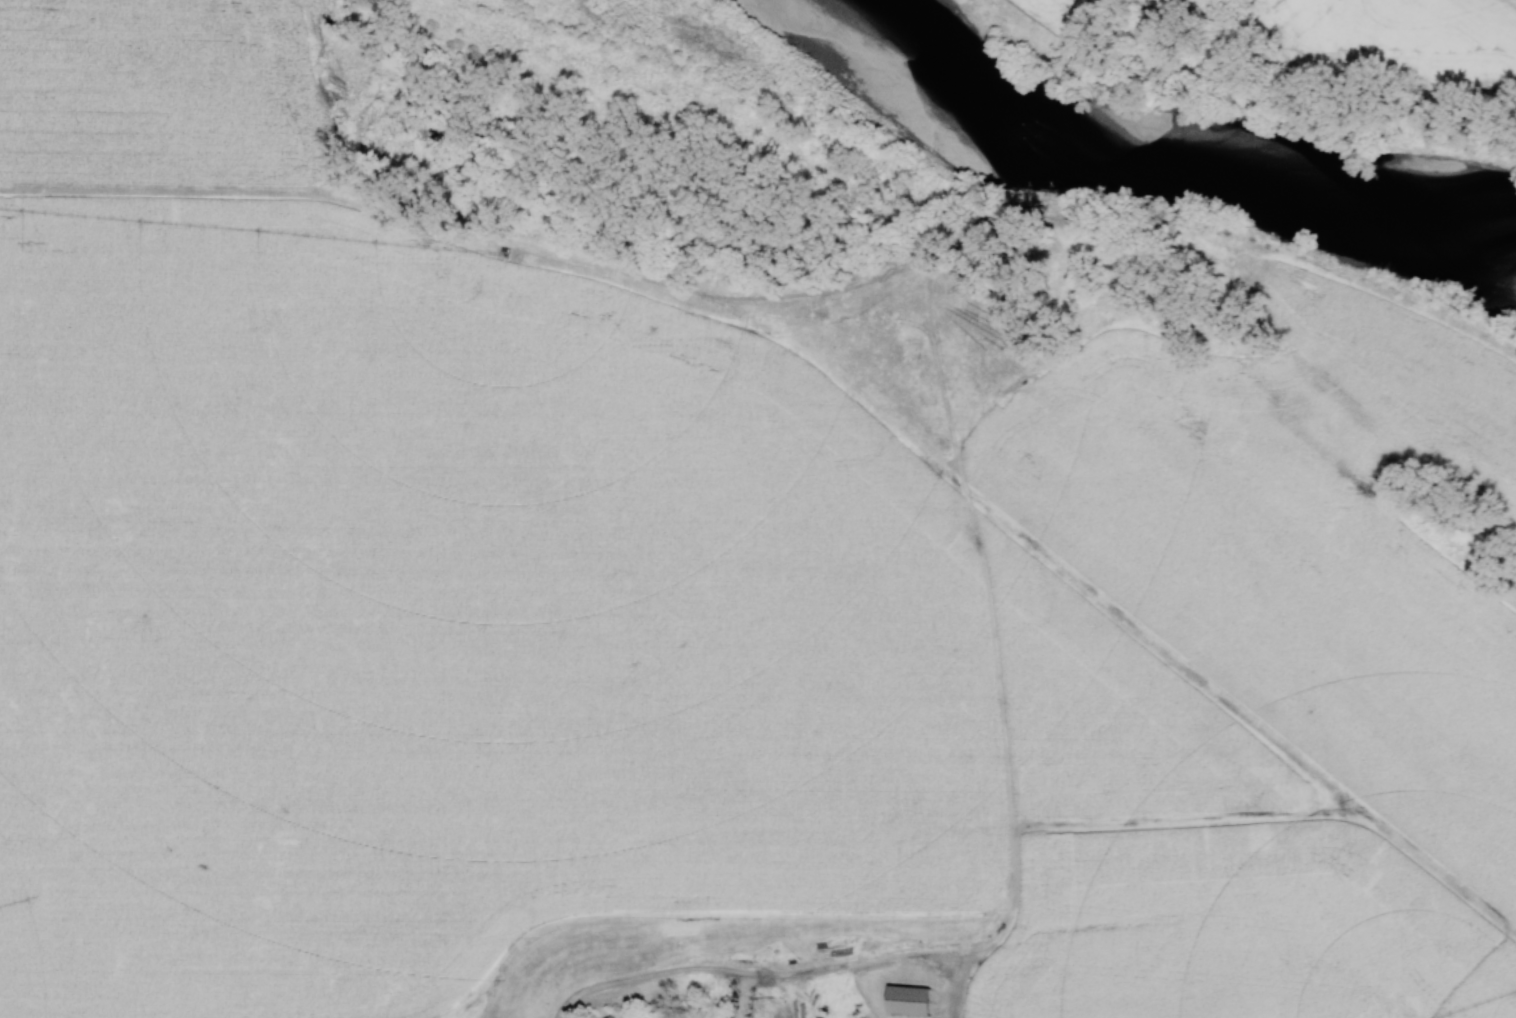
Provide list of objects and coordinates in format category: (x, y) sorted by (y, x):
river: (1143, 169)
road: (777, 973)
building: (907, 1000)

